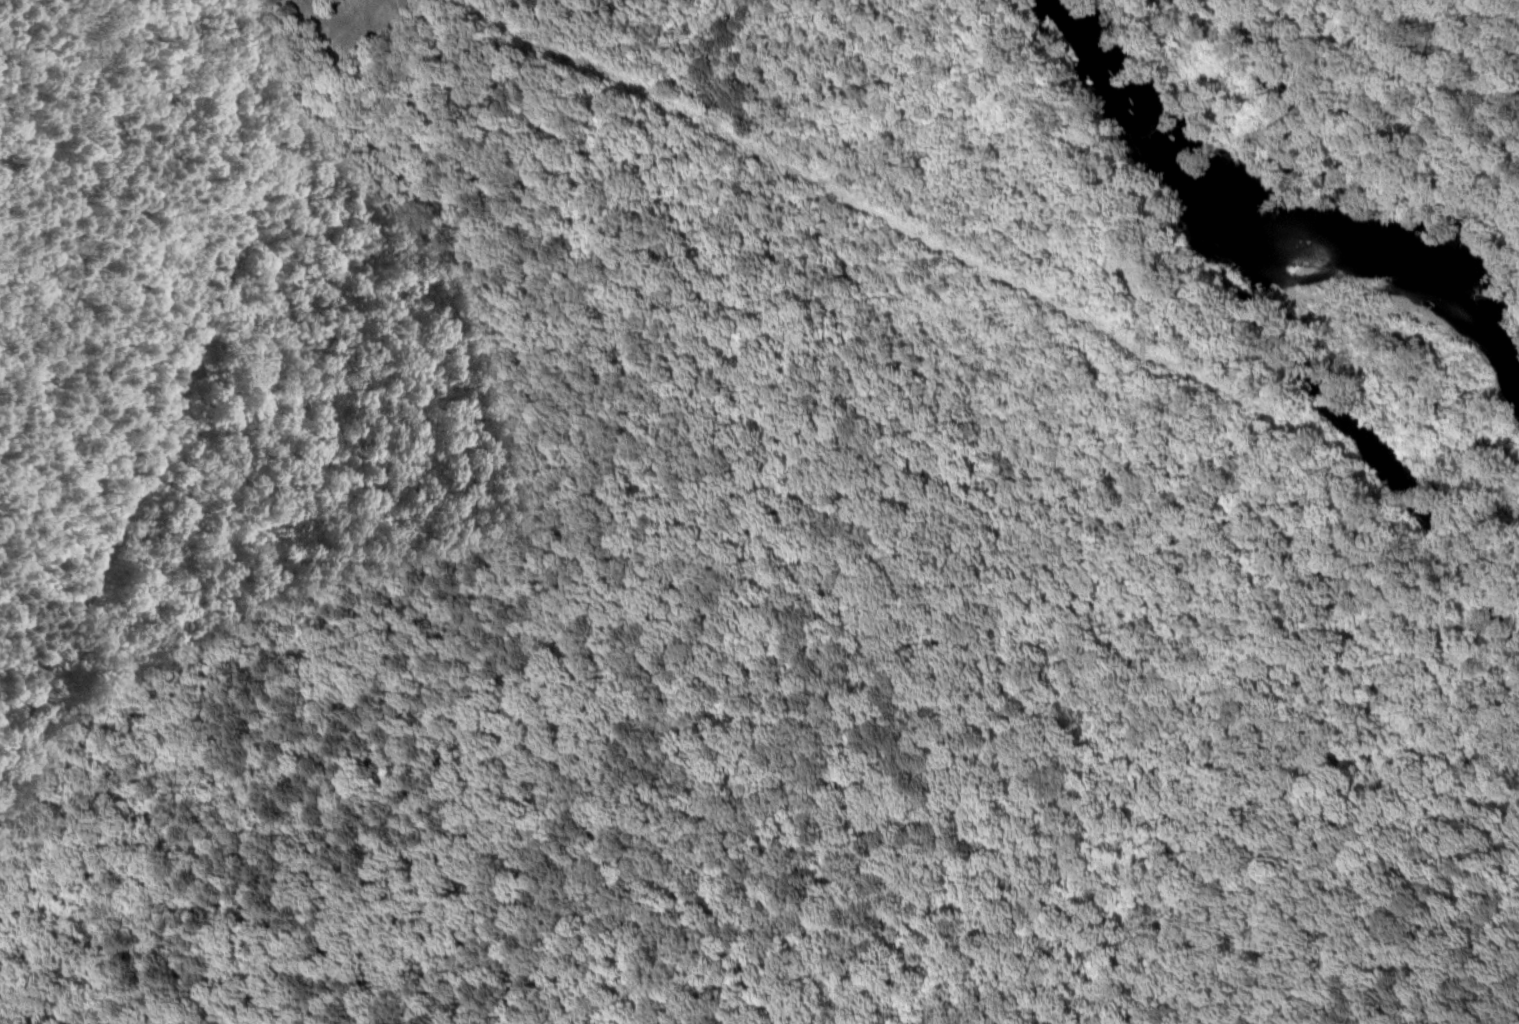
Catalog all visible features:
river: (1263, 218)
road: (184, 405)

